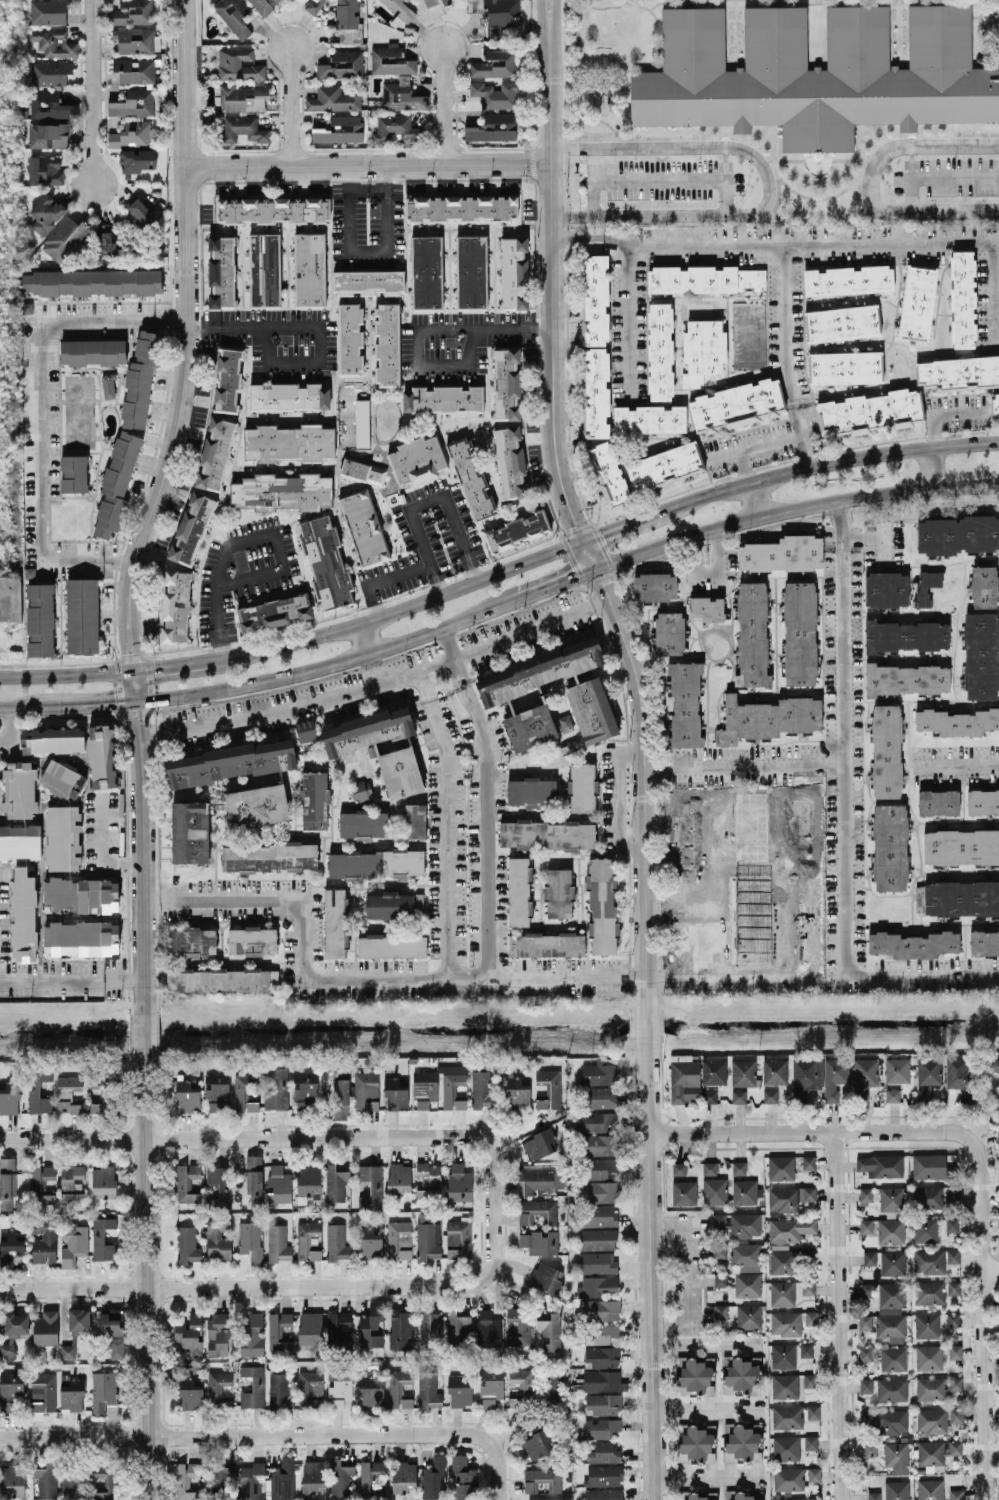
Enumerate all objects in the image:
building: (435, 2)
building: (263, 4)
building: (313, 5)
building: (401, 10)
building: (497, 10)
building: (49, 11)
building: (131, 12)
building: (233, 15)
building: (349, 20)
building: (134, 39)
building: (53, 42)
building: (391, 60)
building: (494, 63)
building: (239, 64)
building: (341, 65)
building: (134, 69)
building: (49, 72)
building: (815, 73)
road: (91, 92)
building: (496, 93)
building: (402, 95)
building: (242, 97)
building: (332, 99)
building: (133, 103)
building: (50, 105)
road: (289, 105)
road: (442, 105)
building: (395, 127)
building: (242, 128)
building: (493, 128)
building: (340, 129)
building: (131, 133)
building: (48, 134)
building: (137, 159)
road: (815, 159)
road: (909, 160)
road: (723, 163)
road: (368, 164)
building: (45, 170)
road: (936, 176)
road: (657, 181)
road: (867, 182)
road: (765, 184)
road: (815, 197)
building: (461, 207)
building: (272, 209)
building: (46, 213)
building: (138, 215)
building: (64, 239)
building: (106, 241)
road: (774, 246)
road: (369, 250)
building: (264, 269)
building: (309, 269)
building: (221, 270)
building: (471, 271)
building: (427, 272)
building: (514, 272)
building: (705, 279)
building: (848, 279)
building: (367, 281)
building: (91, 282)
building: (962, 298)
building: (917, 302)
building: (842, 322)
road: (627, 323)
road: (484, 329)
building: (349, 338)
building: (387, 344)
building: (595, 345)
road: (42, 346)
building: (702, 349)
building: (92, 351)
building: (660, 351)
road: (786, 356)
road: (294, 363)
road: (442, 365)
building: (845, 367)
building: (959, 372)
building: (141, 376)
building: (507, 383)
building: (108, 385)
building: (288, 396)
building: (442, 398)
building: (737, 405)
building: (995, 406)
building: (869, 411)
building: (649, 419)
building: (220, 420)
building: (362, 422)
building: (289, 442)
road: (753, 446)
building: (416, 460)
road: (832, 460)
building: (510, 462)
building: (665, 466)
road: (744, 466)
road: (927, 467)
building: (362, 471)
building: (73, 473)
building: (609, 473)
building: (471, 480)
building: (116, 482)
building: (282, 491)
road: (426, 499)
road: (754, 499)
road: (152, 501)
road: (569, 502)
road: (793, 509)
traffic signals: (577, 523)
road: (627, 523)
building: (190, 526)
building: (364, 528)
building: (516, 531)
traffic signals: (601, 533)
building: (959, 534)
building: (782, 553)
road: (280, 560)
building: (326, 561)
road: (709, 575)
traffic signals: (574, 576)
road: (383, 578)
road: (557, 582)
traffic signals: (600, 584)
building: (654, 586)
building: (927, 586)
building: (984, 586)
building: (886, 589)
road: (217, 598)
building: (175, 606)
road: (398, 607)
building: (707, 608)
building: (274, 611)
building: (82, 615)
building: (40, 619)
building: (669, 632)
building: (799, 633)
building: (752, 634)
building: (906, 635)
road: (362, 636)
traffic signals: (132, 653)
building: (981, 655)
road: (330, 660)
road: (171, 663)
traffic signals: (155, 666)
road: (371, 667)
road: (66, 670)
building: (539, 670)
building: (905, 679)
road: (377, 683)
traffic signals: (114, 699)
road: (93, 701)
building: (685, 703)
road: (25, 705)
building: (591, 710)
traffic signals: (137, 716)
building: (767, 718)
building: (957, 721)
road: (7, 725)
building: (530, 726)
building: (305, 730)
building: (52, 739)
road: (842, 739)
building: (380, 746)
building: (886, 750)
building: (101, 755)
building: (230, 762)
road: (957, 763)
road: (742, 764)
building: (62, 778)
building: (582, 787)
building: (19, 789)
building: (360, 789)
building: (532, 791)
road: (486, 797)
road: (618, 797)
building: (314, 799)
building: (982, 801)
building: (938, 802)
building: (256, 805)
building: (412, 821)
road: (447, 822)
building: (363, 823)
road: (100, 830)
building: (190, 831)
building: (546, 833)
building: (63, 837)
building: (20, 841)
building: (890, 846)
building: (961, 846)
building: (269, 856)
building: (375, 863)
road: (716, 879)
building: (519, 891)
building: (558, 892)
building: (81, 894)
building: (957, 897)
building: (393, 904)
building: (602, 905)
building: (23, 915)
building: (335, 922)
building: (81, 937)
building: (251, 939)
building: (191, 940)
building: (984, 942)
building: (913, 943)
building: (546, 944)
building: (391, 945)
road: (923, 977)
building: (222, 979)
road: (356, 979)
road: (730, 981)
road: (73, 983)
road: (649, 1017)
river: (499, 1021)
road: (147, 1025)
building: (993, 1064)
building: (897, 1069)
building: (774, 1070)
building: (714, 1071)
building: (598, 1072)
building: (743, 1072)
building: (956, 1072)
building: (928, 1075)
building: (806, 1076)
building: (834, 1076)
building: (864, 1076)
building: (683, 1077)
building: (276, 1087)
building: (425, 1088)
building: (548, 1088)
building: (305, 1089)
building: (452, 1089)
building: (482, 1089)
building: (216, 1090)
building: (366, 1090)
building: (38, 1091)
building: (102, 1092)
building: (516, 1092)
building: (68, 1093)
building: (243, 1094)
building: (395, 1094)
building: (892, 1094)
building: (738, 1095)
building: (769, 1095)
building: (187, 1096)
building: (710, 1096)
building: (10, 1098)
building: (342, 1098)
building: (603, 1098)
building: (596, 1121)
road: (816, 1131)
road: (276, 1135)
building: (997, 1139)
building: (539, 1144)
building: (601, 1144)
building: (808, 1162)
building: (7, 1164)
building: (880, 1165)
building: (931, 1166)
building: (600, 1167)
building: (709, 1167)
building: (739, 1167)
building: (781, 1167)
building: (679, 1168)
building: (70, 1176)
building: (399, 1177)
building: (427, 1178)
building: (309, 1179)
building: (254, 1180)
building: (538, 1180)
building: (103, 1181)
building: (187, 1182)
building: (335, 1182)
building: (459, 1182)
building: (41, 1183)
building: (279, 1183)
building: (370, 1184)
building: (219, 1186)
building: (6, 1189)
building: (600, 1191)
building: (684, 1191)
building: (715, 1191)
building: (745, 1191)
building: (953, 1191)
building: (865, 1194)
building: (72, 1196)
building: (927, 1196)
building: (788, 1198)
building: (890, 1198)
building: (537, 1210)
building: (597, 1215)
building: (719, 1221)
building: (952, 1224)
building: (744, 1225)
building: (865, 1225)
building: (788, 1230)
building: (891, 1230)
building: (925, 1230)
building: (428, 1236)
building: (102, 1238)
building: (458, 1238)
building: (217, 1239)
building: (307, 1239)
building: (399, 1239)
building: (597, 1239)
building: (251, 1240)
building: (278, 1242)
building: (336, 1242)
building: (540, 1242)
building: (369, 1243)
building: (43, 1244)
building: (73, 1244)
building: (187, 1244)
building: (12, 1245)
building: (719, 1249)
building: (952, 1255)
building: (746, 1256)
building: (869, 1257)
building: (928, 1260)
building: (782, 1261)
building: (892, 1261)
building: (597, 1262)
road: (990, 1267)
road: (651, 1270)
road: (147, 1273)
road: (686, 1274)
building: (546, 1276)
building: (720, 1279)
road: (277, 1284)
building: (747, 1284)
building: (599, 1285)
building: (807, 1287)
building: (953, 1287)
building: (865, 1289)
building: (929, 1292)
building: (782, 1293)
building: (602, 1309)
building: (720, 1310)
building: (891, 1311)
building: (748, 1315)
road: (838, 1315)
building: (811, 1317)
building: (79, 1319)
building: (952, 1319)
building: (111, 1321)
building: (864, 1321)
building: (785, 1322)
road: (982, 1322)
building: (430, 1323)
building: (518, 1325)
building: (926, 1325)
building: (371, 1326)
building: (46, 1327)
building: (457, 1327)
building: (400, 1328)
building: (310, 1329)
building: (338, 1329)
building: (487, 1329)
building: (278, 1330)
building: (549, 1331)
building: (13, 1332)
building: (600, 1333)
building: (218, 1334)
building: (188, 1335)
building: (252, 1335)
road: (704, 1342)
building: (115, 1347)
building: (806, 1349)
building: (67, 1350)
building: (955, 1351)
building: (865, 1352)
building: (783, 1355)
building: (601, 1356)
building: (928, 1356)
building: (892, 1357)
building: (739, 1374)
building: (694, 1376)
building: (600, 1380)
building: (809, 1380)
building: (955, 1382)
building: (490, 1385)
building: (552, 1385)
building: (785, 1385)
building: (866, 1385)
building: (252, 1386)
building: (339, 1386)
building: (521, 1387)
building: (930, 1387)
building: (399, 1388)
building: (11, 1389)
building: (218, 1389)
building: (428, 1389)
building: (892, 1389)
building: (279, 1390)
building: (42, 1391)
building: (102, 1391)
building: (371, 1391)
building: (458, 1391)
building: (190, 1393)
building: (603, 1403)
road: (704, 1408)
building: (813, 1411)
building: (956, 1414)
building: (787, 1416)
building: (886, 1419)
building: (931, 1420)
building: (603, 1427)
road: (274, 1435)
building: (810, 1441)
building: (741, 1442)
building: (538, 1443)
building: (696, 1444)
building: (785, 1447)
building: (604, 1452)
building: (936, 1452)
building: (896, 1455)
building: (814, 1473)
building: (603, 1474)
building: (404, 1475)
road: (704, 1475)
building: (313, 1476)
building: (340, 1476)
building: (434, 1478)
building: (542, 1478)
building: (788, 1478)
building: (12, 1479)
building: (46, 1479)
building: (74, 1479)
building: (106, 1479)
building: (221, 1479)
building: (463, 1479)
building: (184, 1480)
building: (268, 1481)
building: (930, 1489)
building: (896, 1490)
building: (602, 1493)
building: (955, 1494)
building: (737, 1495)
building: (873, 1495)
building: (696, 1496)
building: (547, 1498)
building: (798, 1498)

